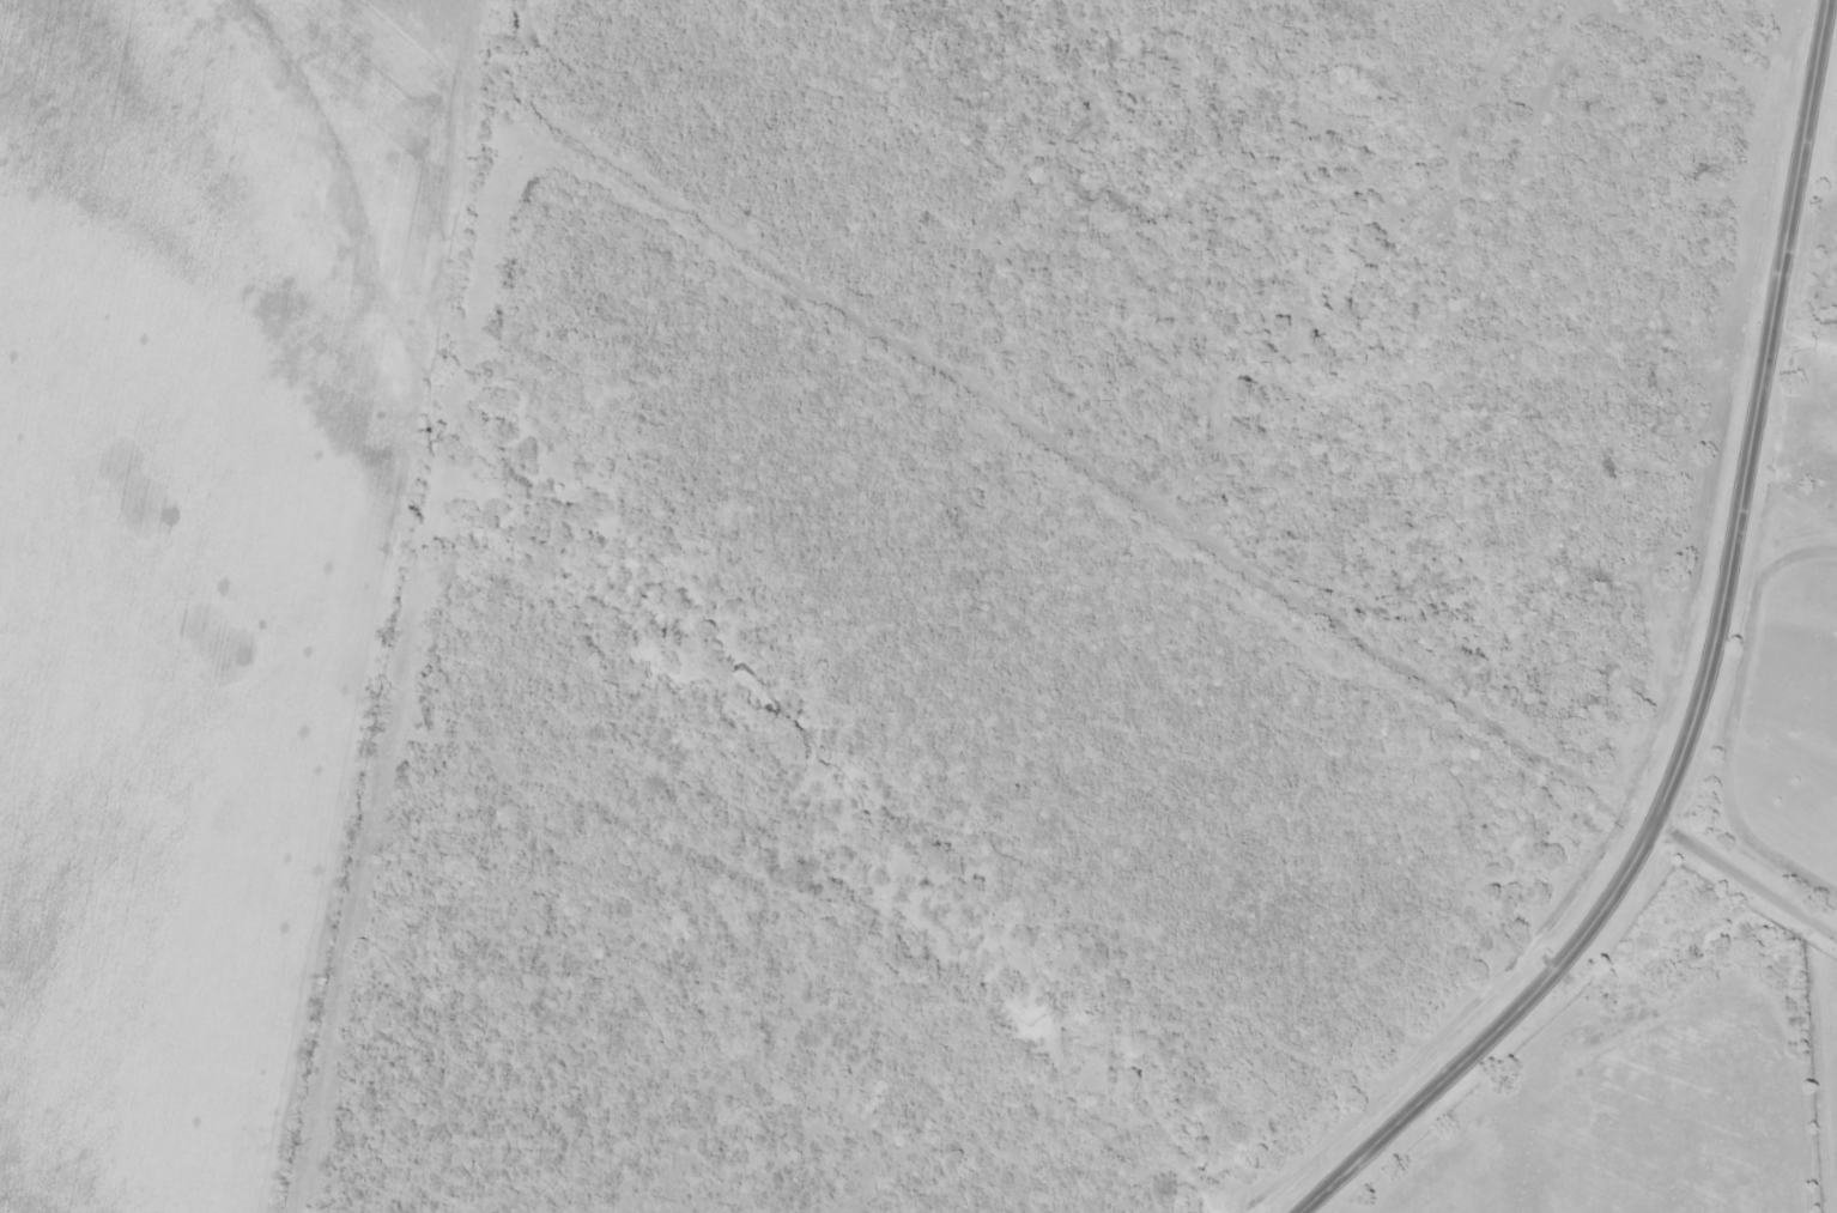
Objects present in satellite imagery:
road: (1802, 344)
road: (1704, 674)
road: (1745, 879)

